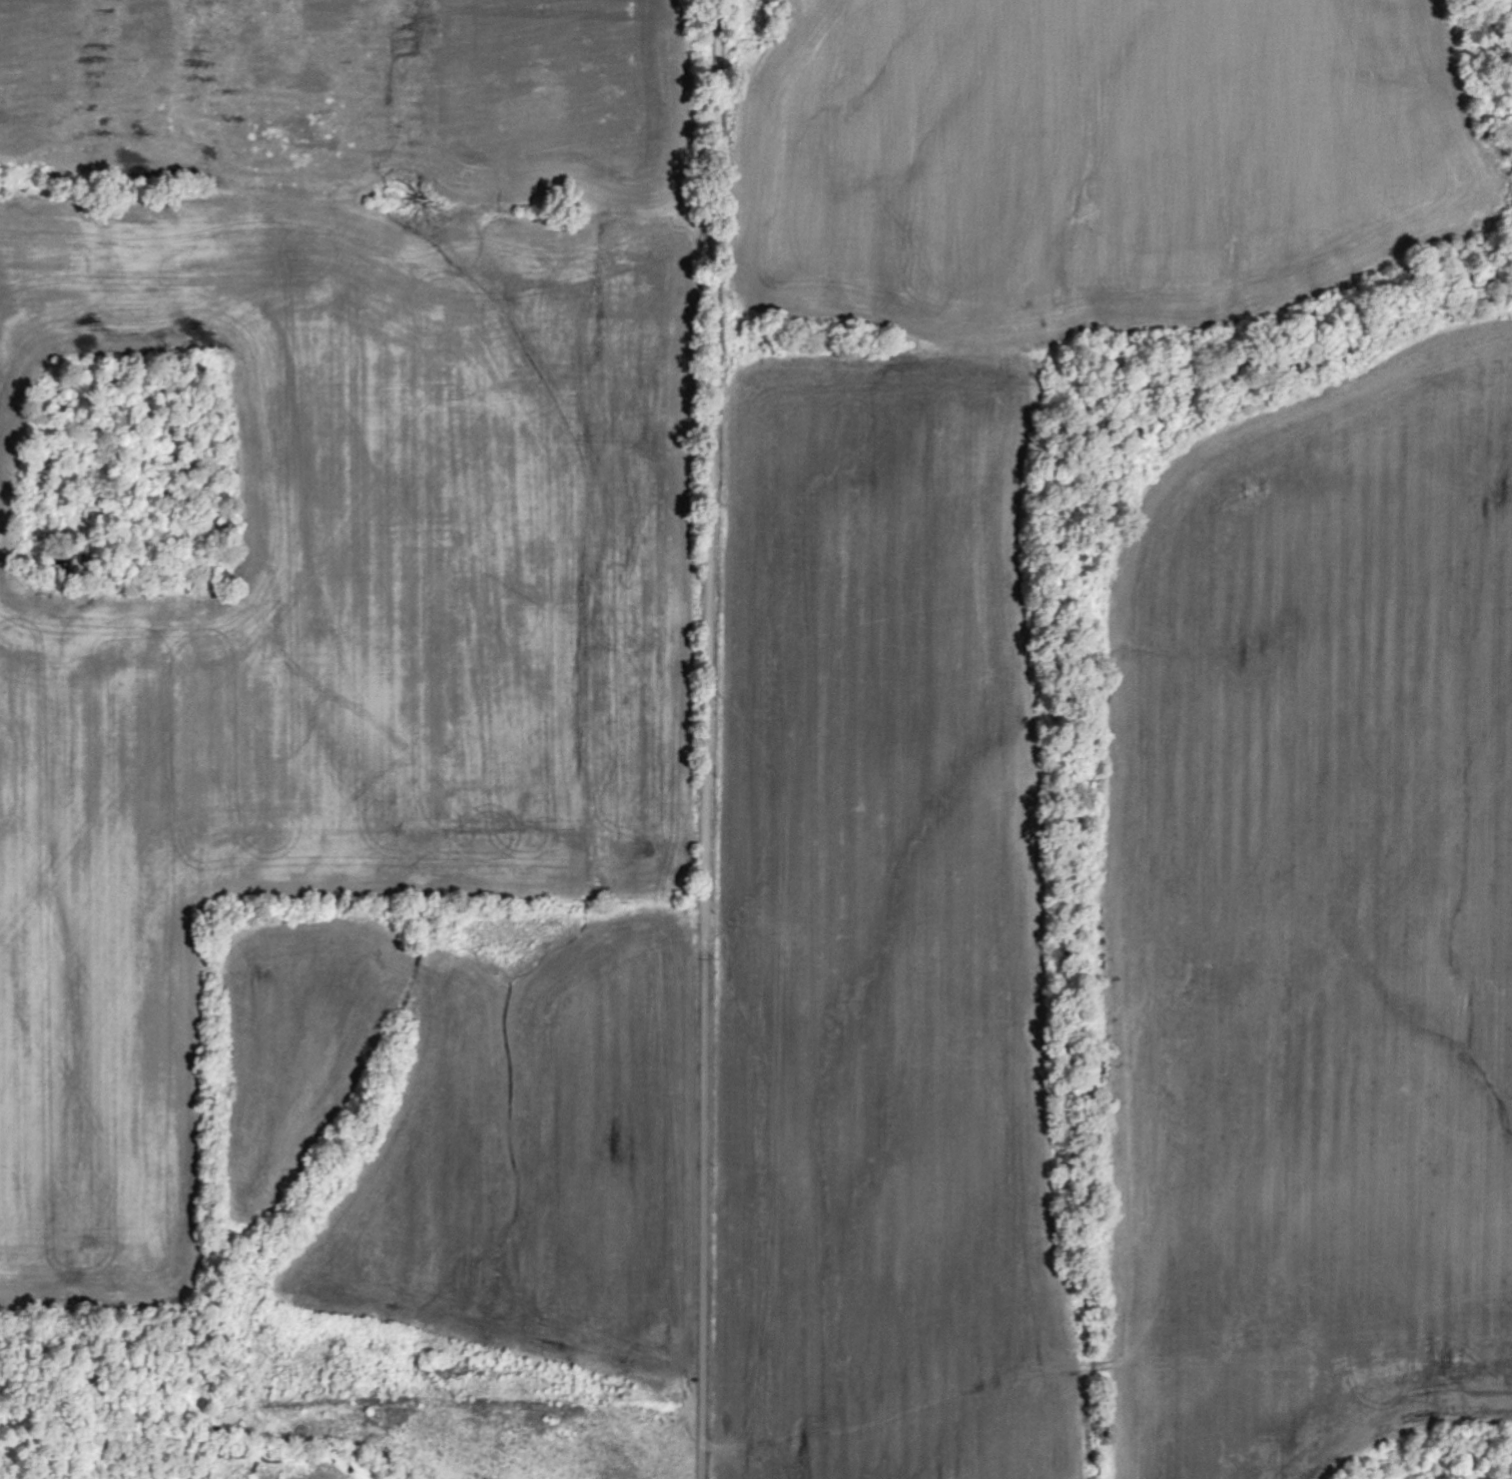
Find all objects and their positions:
road: (719, 149)

